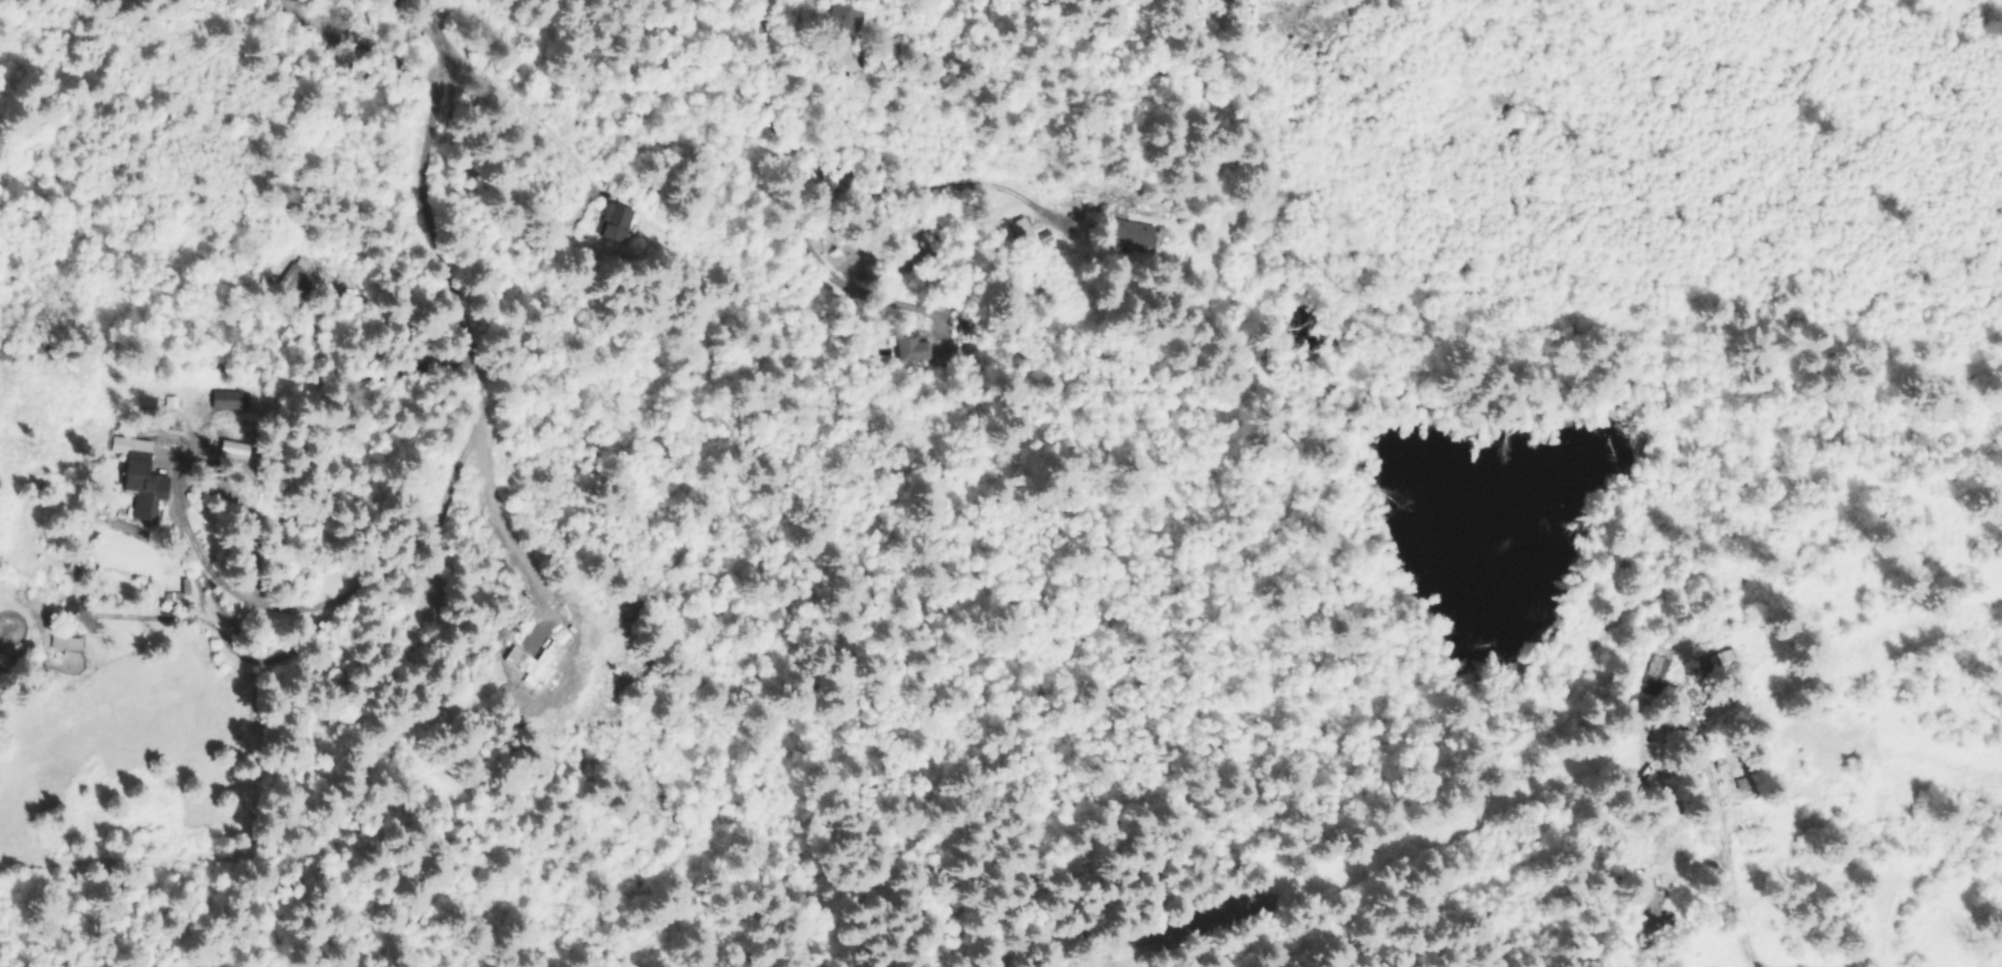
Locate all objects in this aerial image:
building: (842, 24)
road: (786, 157)
building: (614, 222)
building: (1130, 233)
building: (297, 276)
building: (911, 349)
road: (482, 364)
building: (143, 487)
road: (192, 554)
building: (174, 593)
building: (63, 641)
building: (1718, 665)
building: (1654, 679)
building: (1738, 786)
road: (1723, 846)
building: (1657, 906)

